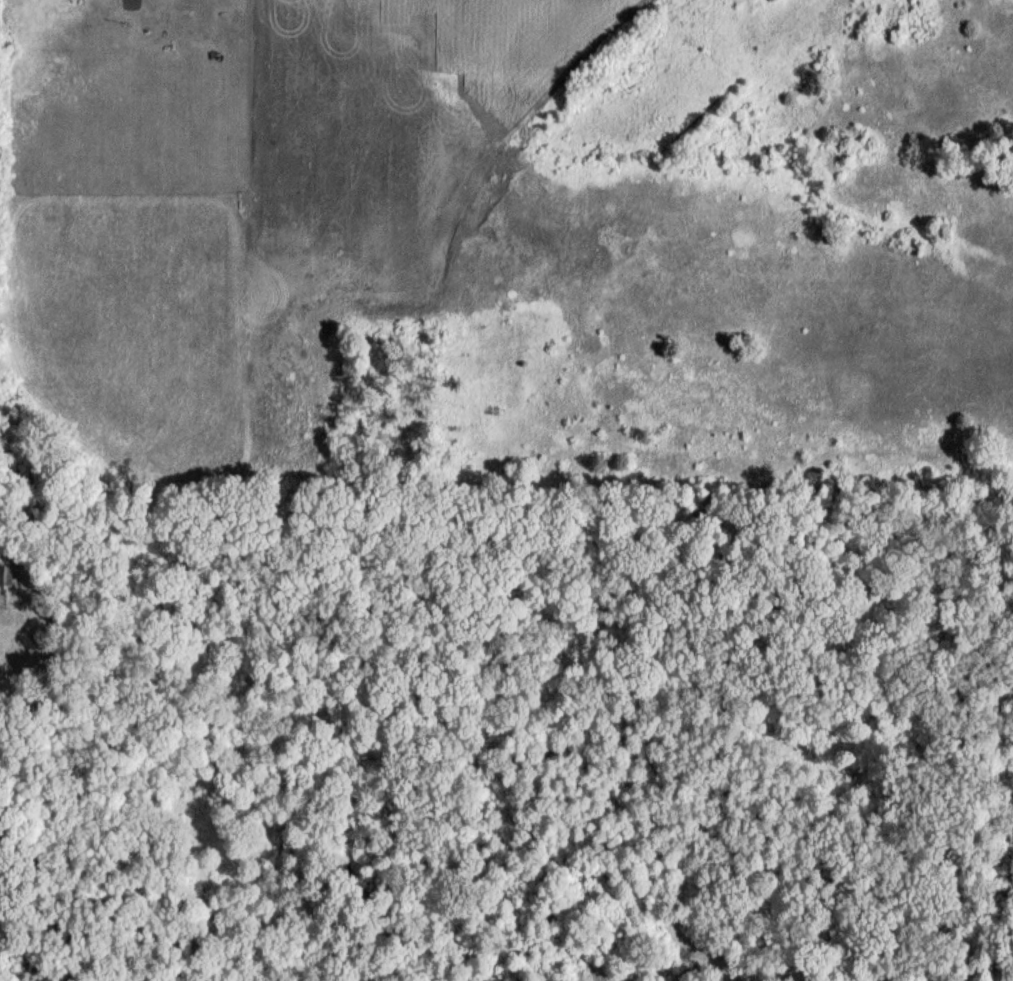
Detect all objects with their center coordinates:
building: (3, 580)

